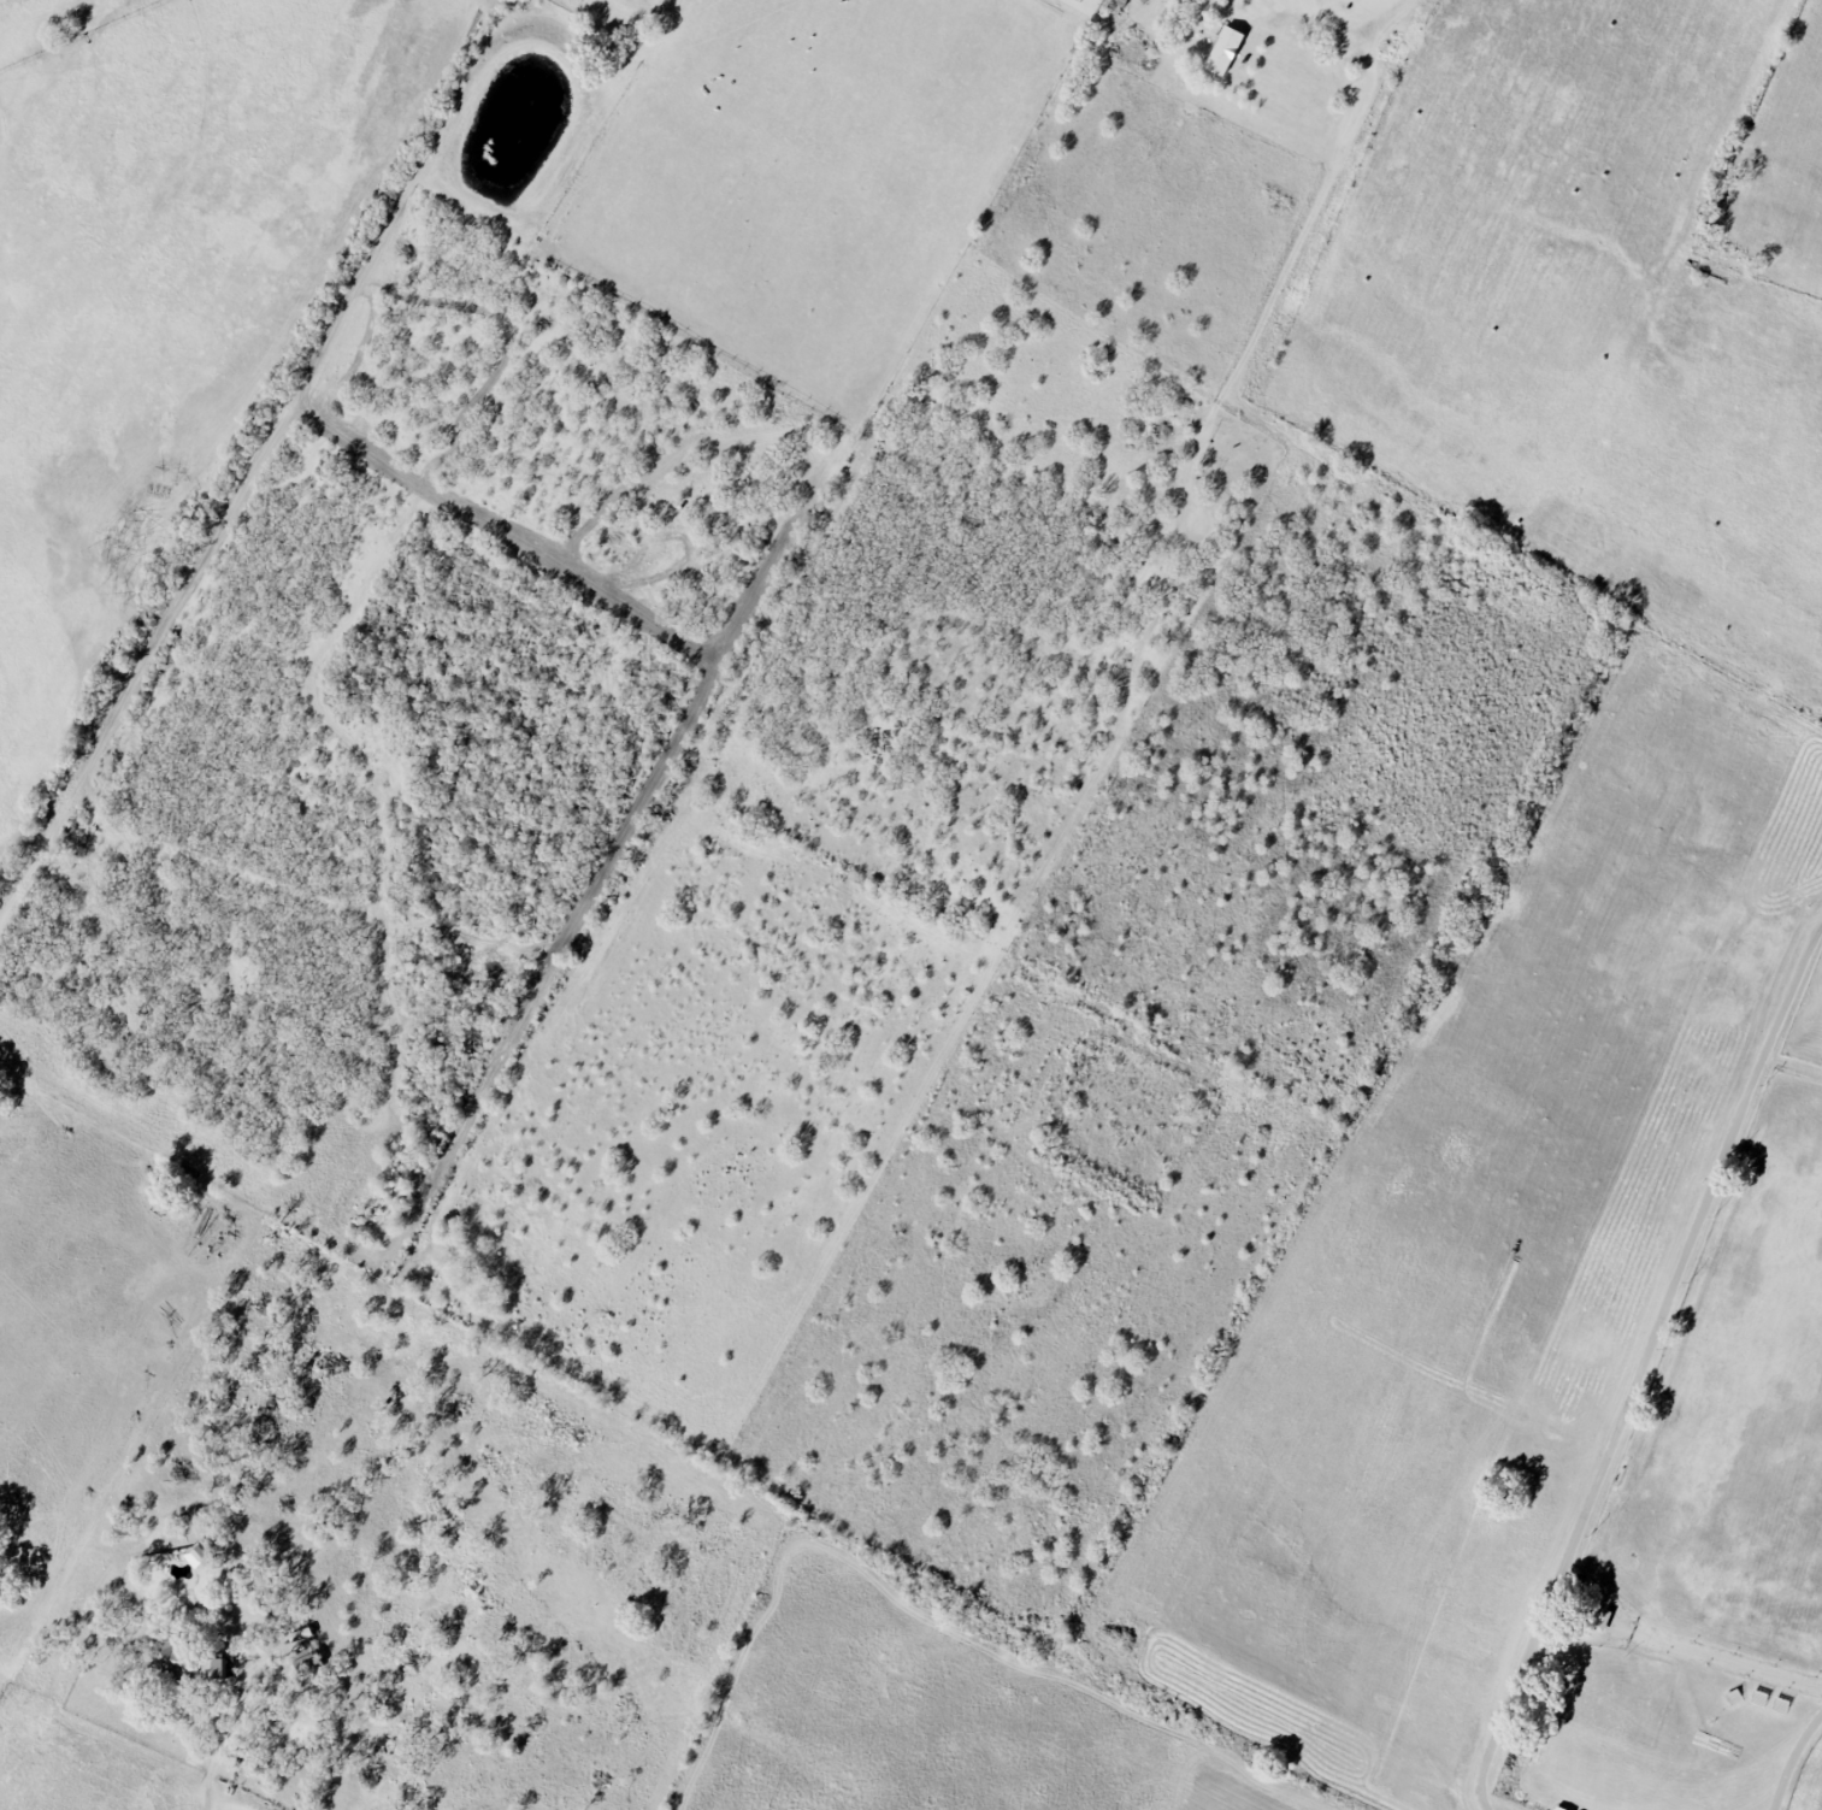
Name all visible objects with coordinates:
road: (1380, 6)
road: (1391, 7)
road: (1340, 19)
building: (1223, 51)
road: (1792, 1065)
road: (1641, 1364)
building: (195, 1555)
road: (1682, 1649)
building: (169, 1655)
building: (212, 1668)
building: (1732, 1697)
building: (1757, 1698)
building: (1779, 1705)
road: (217, 1756)
road: (1793, 1759)

